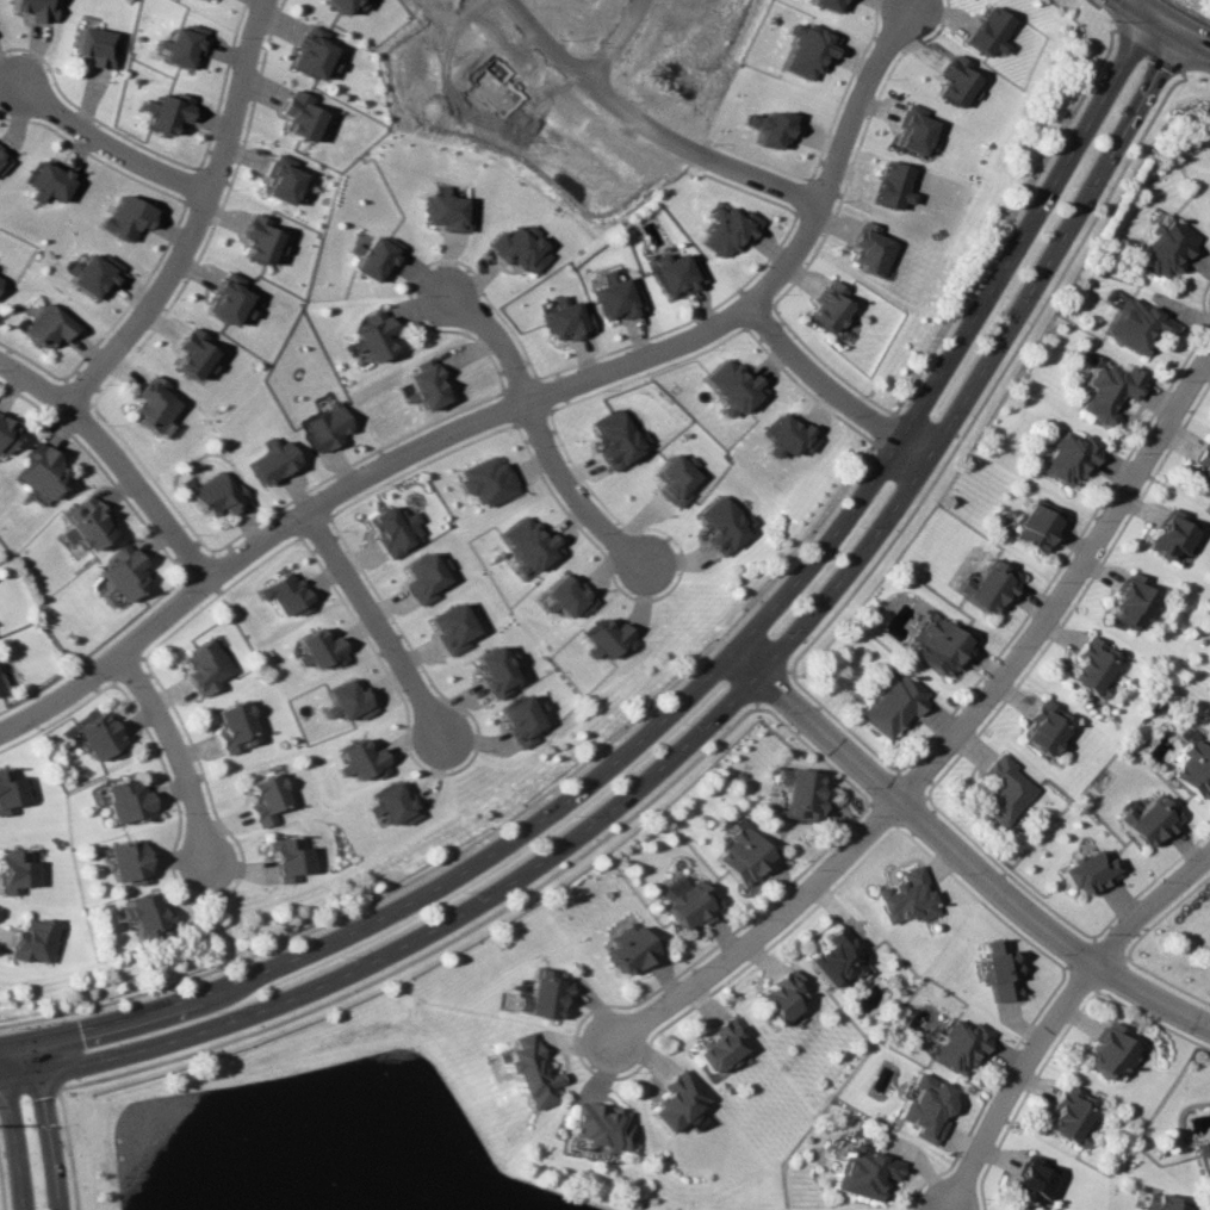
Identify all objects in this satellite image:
building: (204, 0)
building: (342, 5)
building: (826, 5)
building: (36, 10)
traffic signals: (1165, 19)
road: (1173, 23)
building: (986, 31)
road: (613, 42)
building: (98, 46)
building: (805, 49)
building: (312, 52)
building: (954, 80)
road: (596, 91)
building: (168, 111)
building: (298, 114)
building: (769, 126)
building: (912, 129)
road: (110, 148)
building: (4, 160)
building: (280, 179)
road: (763, 179)
building: (891, 186)
building: (446, 211)
building: (125, 217)
road: (198, 217)
building: (727, 229)
building: (257, 237)
building: (520, 248)
building: (868, 248)
building: (1159, 248)
building: (675, 272)
building: (92, 274)
building: (616, 296)
building: (224, 298)
building: (826, 306)
building: (565, 319)
building: (46, 325)
building: (1131, 325)
building: (372, 335)
road: (957, 341)
building: (190, 352)
road: (985, 361)
building: (423, 385)
building: (730, 386)
road: (829, 389)
building: (1104, 391)
building: (150, 404)
road: (507, 409)
building: (327, 426)
road: (539, 428)
building: (6, 434)
building: (782, 435)
building: (615, 438)
road: (116, 454)
building: (1066, 457)
building: (273, 460)
building: (38, 470)
building: (1200, 470)
building: (674, 478)
building: (485, 480)
building: (217, 494)
building: (82, 523)
building: (721, 523)
building: (1034, 525)
building: (395, 529)
building: (1171, 534)
building: (526, 544)
building: (122, 572)
building: (424, 577)
building: (986, 585)
building: (284, 594)
building: (564, 596)
building: (1130, 602)
building: (452, 626)
road: (381, 633)
building: (608, 638)
building: (941, 646)
building: (203, 666)
building: (1090, 668)
building: (494, 669)
building: (892, 706)
building: (521, 719)
building: (235, 726)
building: (1044, 728)
road: (954, 732)
building: (98, 737)
road: (182, 755)
building: (358, 761)
building: (1192, 769)
building: (8, 788)
building: (1003, 790)
building: (800, 793)
building: (265, 796)
building: (125, 800)
building: (391, 803)
building: (1148, 819)
building: (744, 854)
building: (287, 857)
road: (957, 861)
building: (124, 862)
building: (14, 870)
building: (1087, 873)
building: (902, 896)
building: (685, 901)
road: (404, 904)
building: (144, 917)
road: (428, 933)
building: (29, 941)
building: (628, 948)
building: (832, 958)
building: (998, 969)
building: (540, 993)
building: (777, 995)
road: (1055, 1014)
road: (6, 1040)
traffic signals: (13, 1040)
building: (714, 1045)
building: (956, 1045)
building: (1109, 1053)
traffic signals: (36, 1072)
building: (525, 1072)
road: (18, 1076)
traffic signals: (5, 1080)
road: (26, 1093)
building: (672, 1100)
building: (923, 1106)
building: (1066, 1112)
road: (44, 1121)
road: (12, 1124)
building: (594, 1124)
road: (63, 1149)
building: (860, 1172)
building: (1029, 1180)
road: (1, 1202)
building: (1161, 1202)

